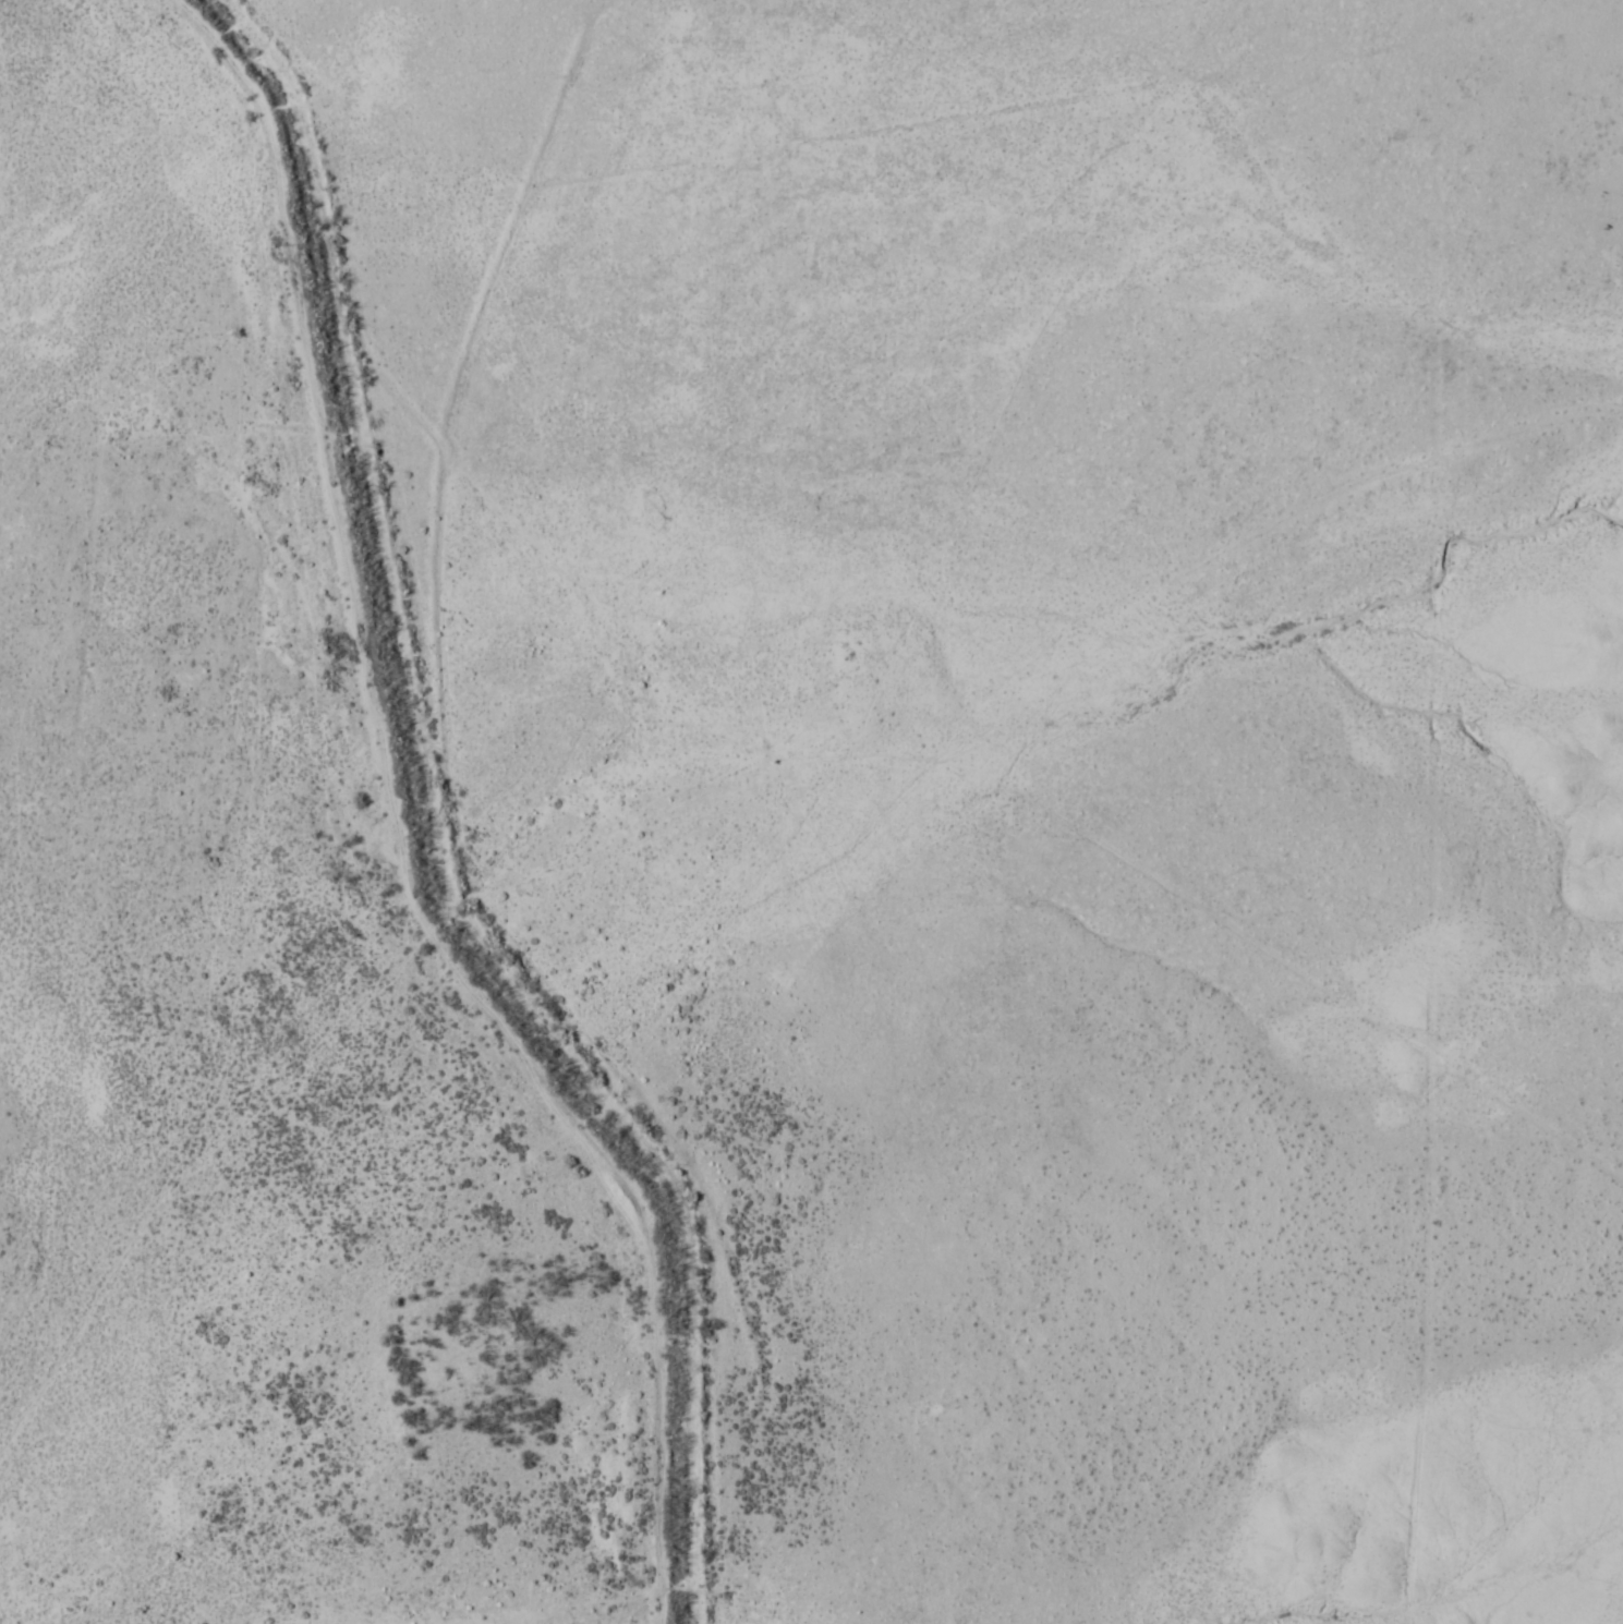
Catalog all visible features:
road: (540, 825)

